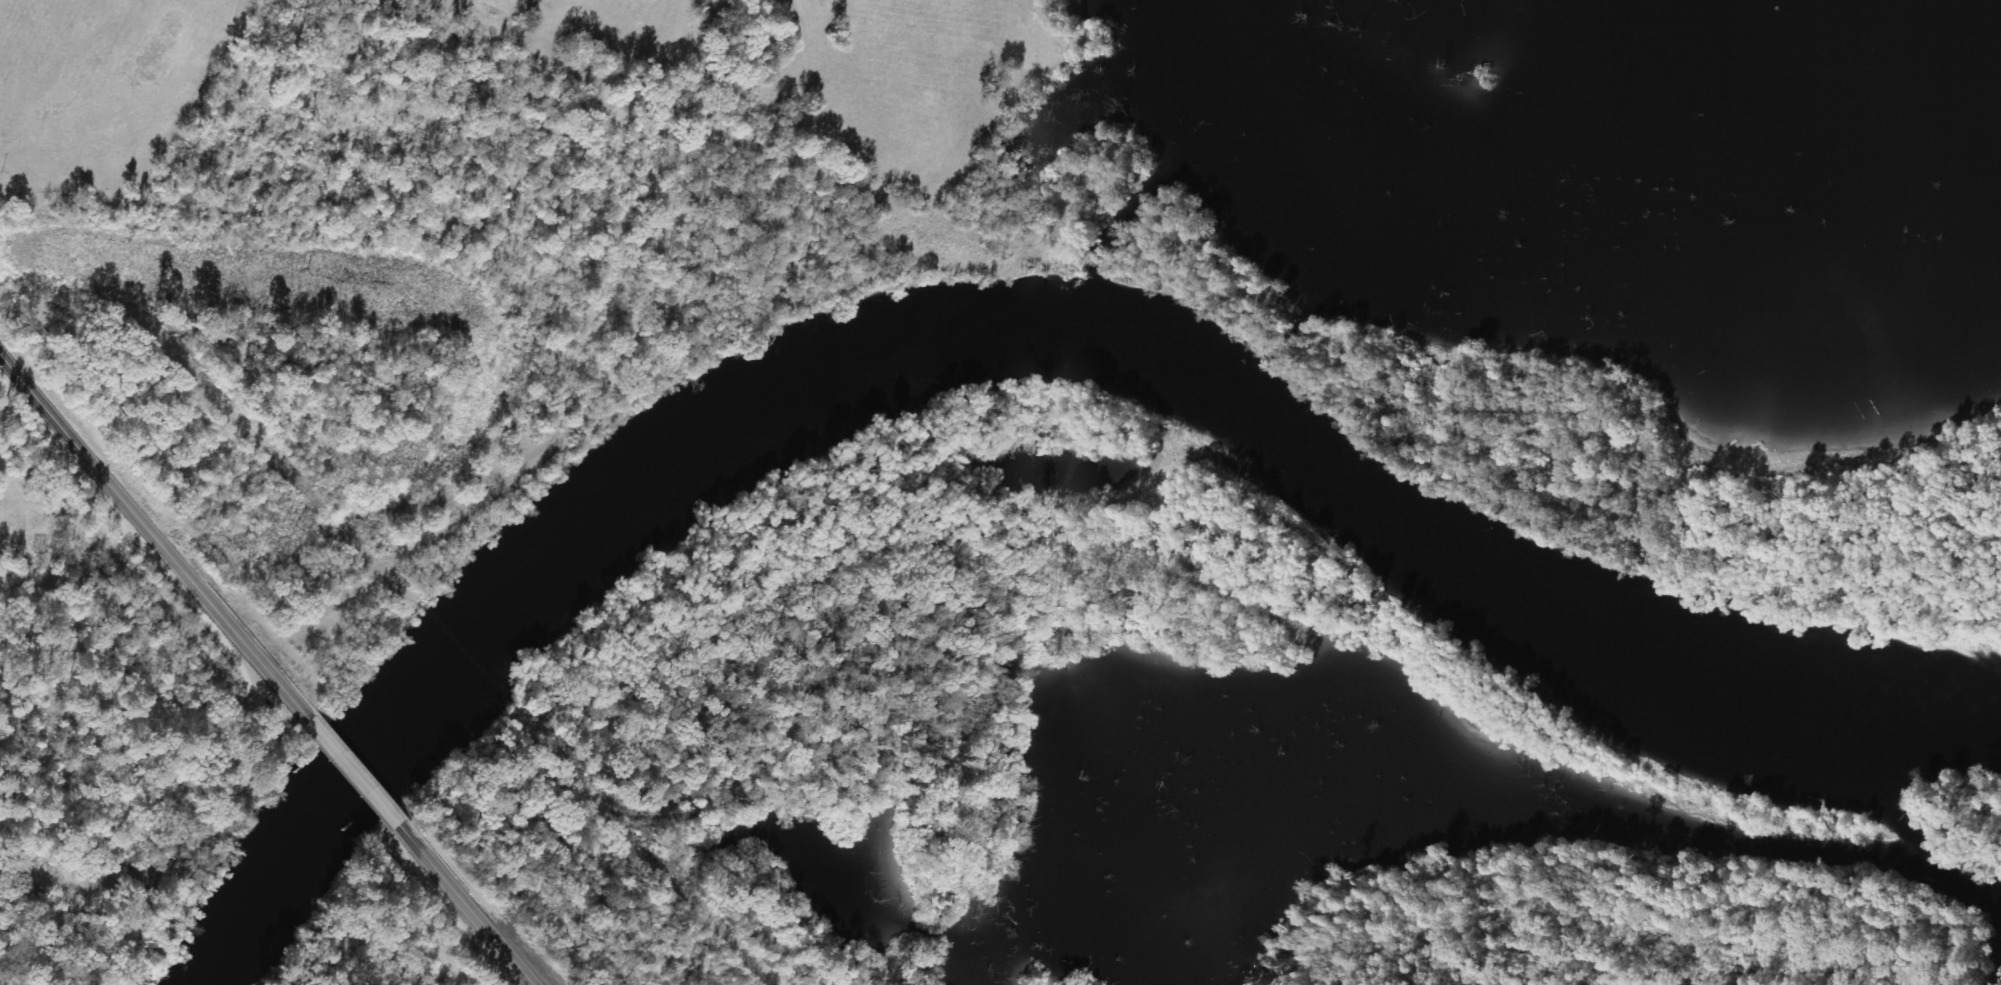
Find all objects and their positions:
road: (154, 536)
road: (353, 771)
road: (465, 904)

